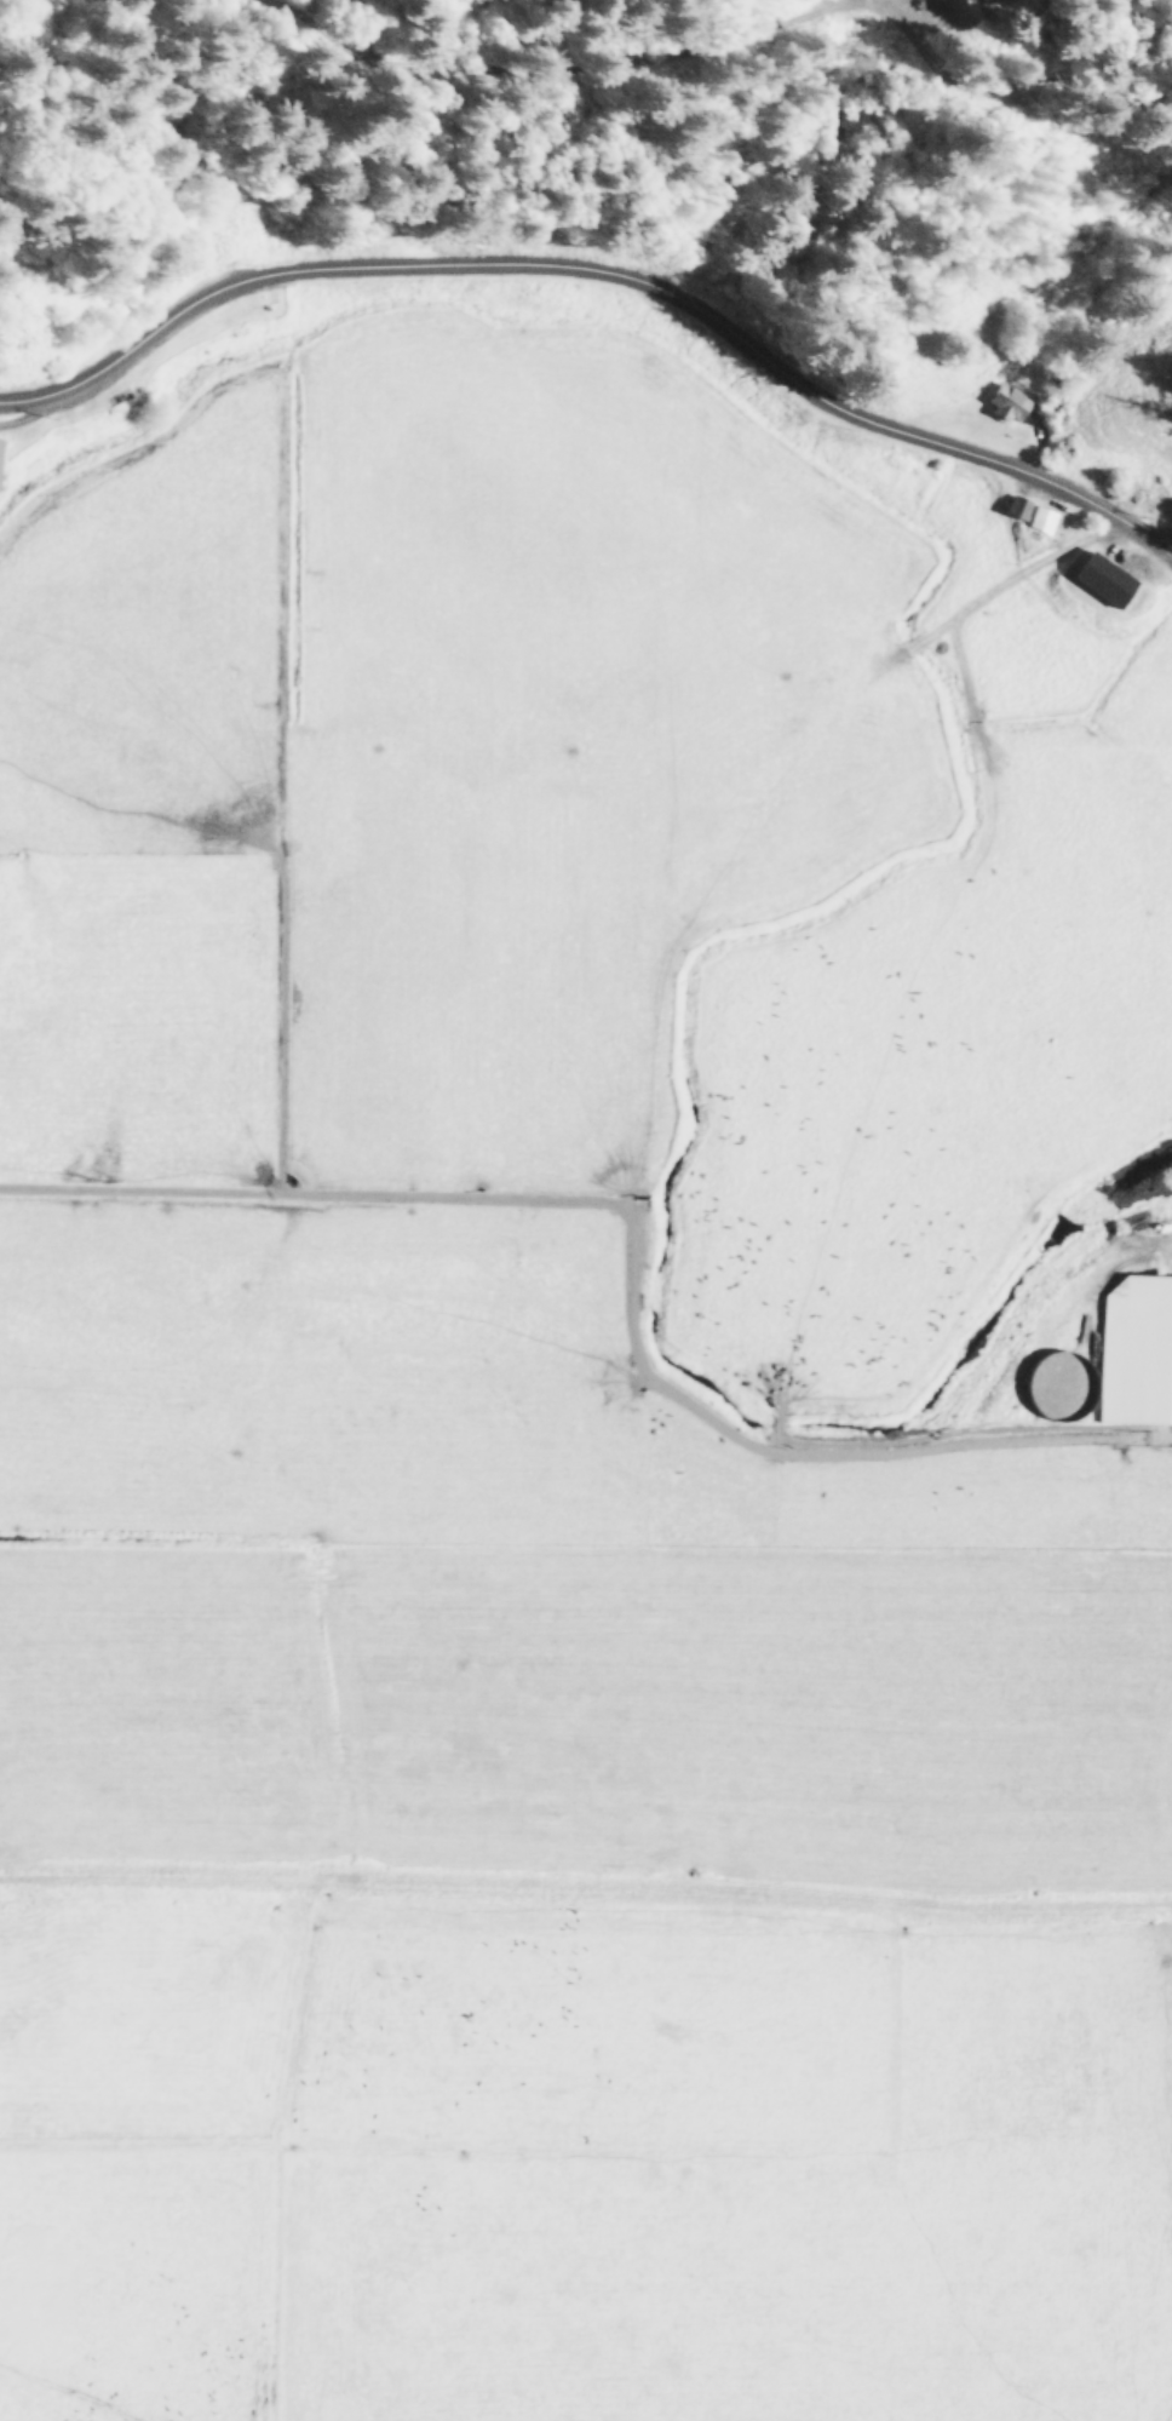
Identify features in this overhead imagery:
road: (604, 272)
building: (1006, 400)
building: (0, 444)
building: (1105, 579)
building: (1136, 1349)
crop: (575, 1404)

